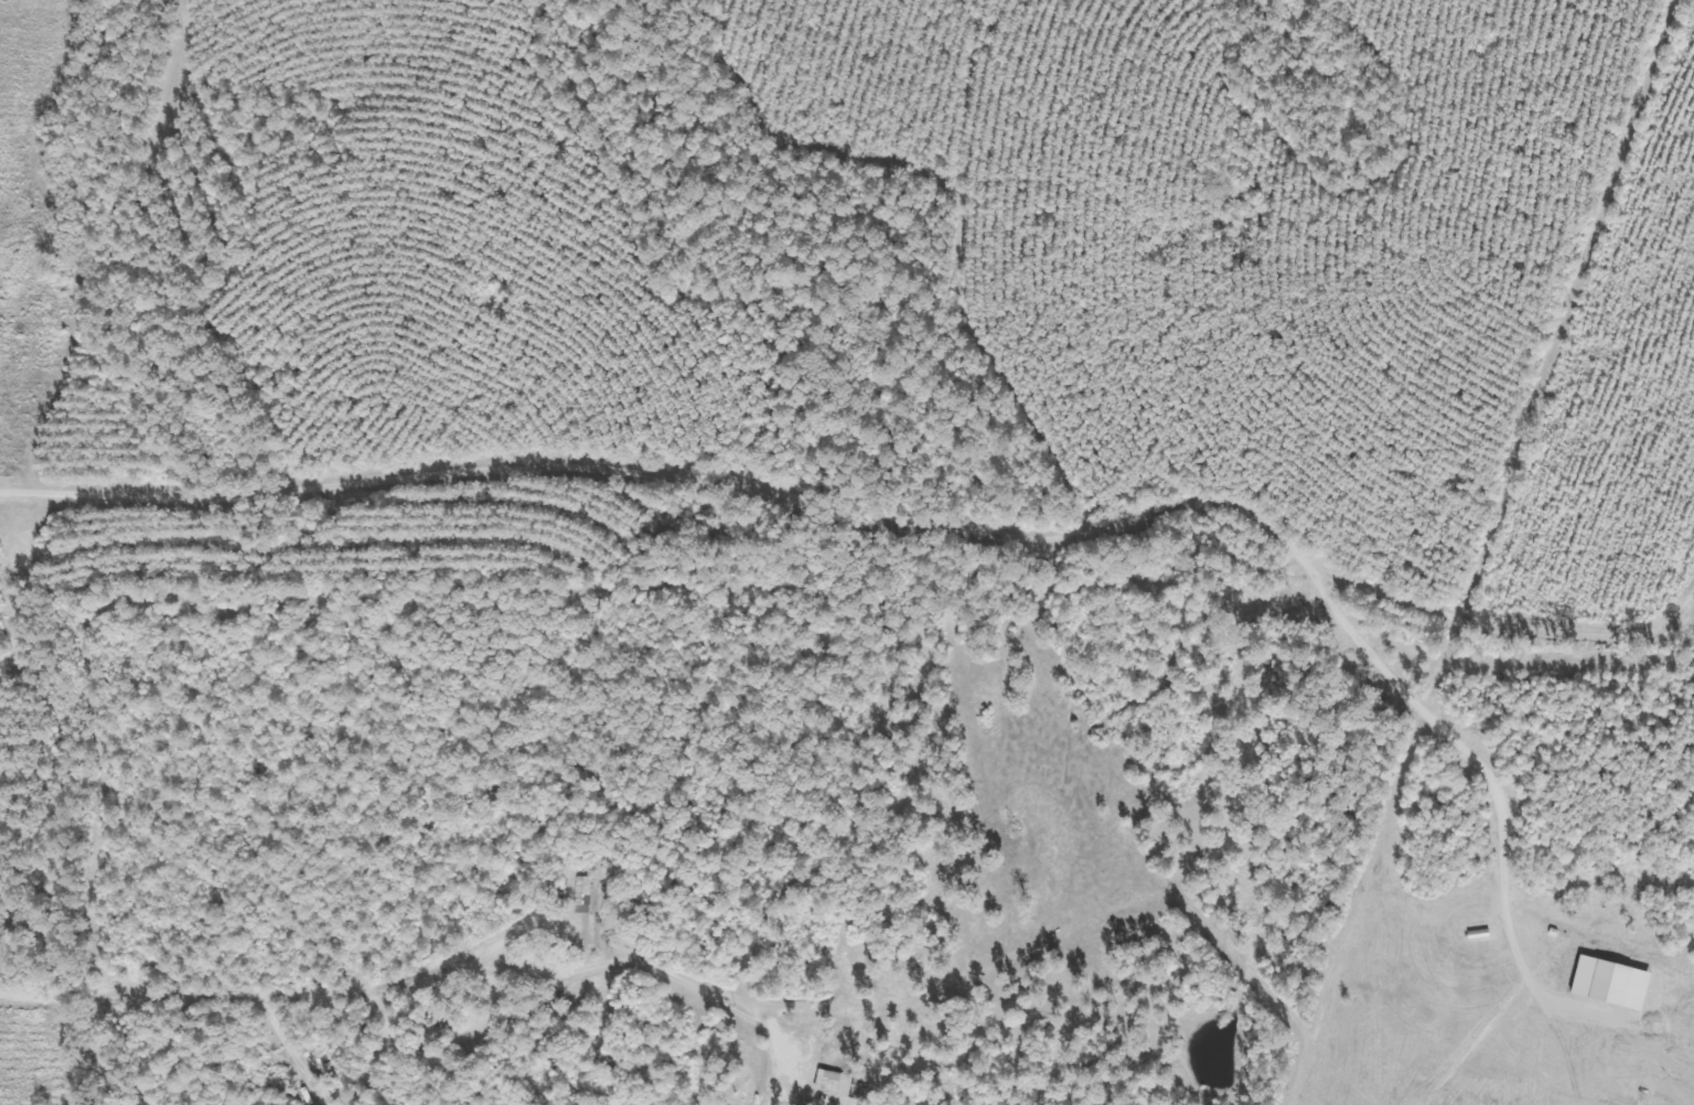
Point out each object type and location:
road: (869, 524)
building: (580, 893)
road: (272, 989)

